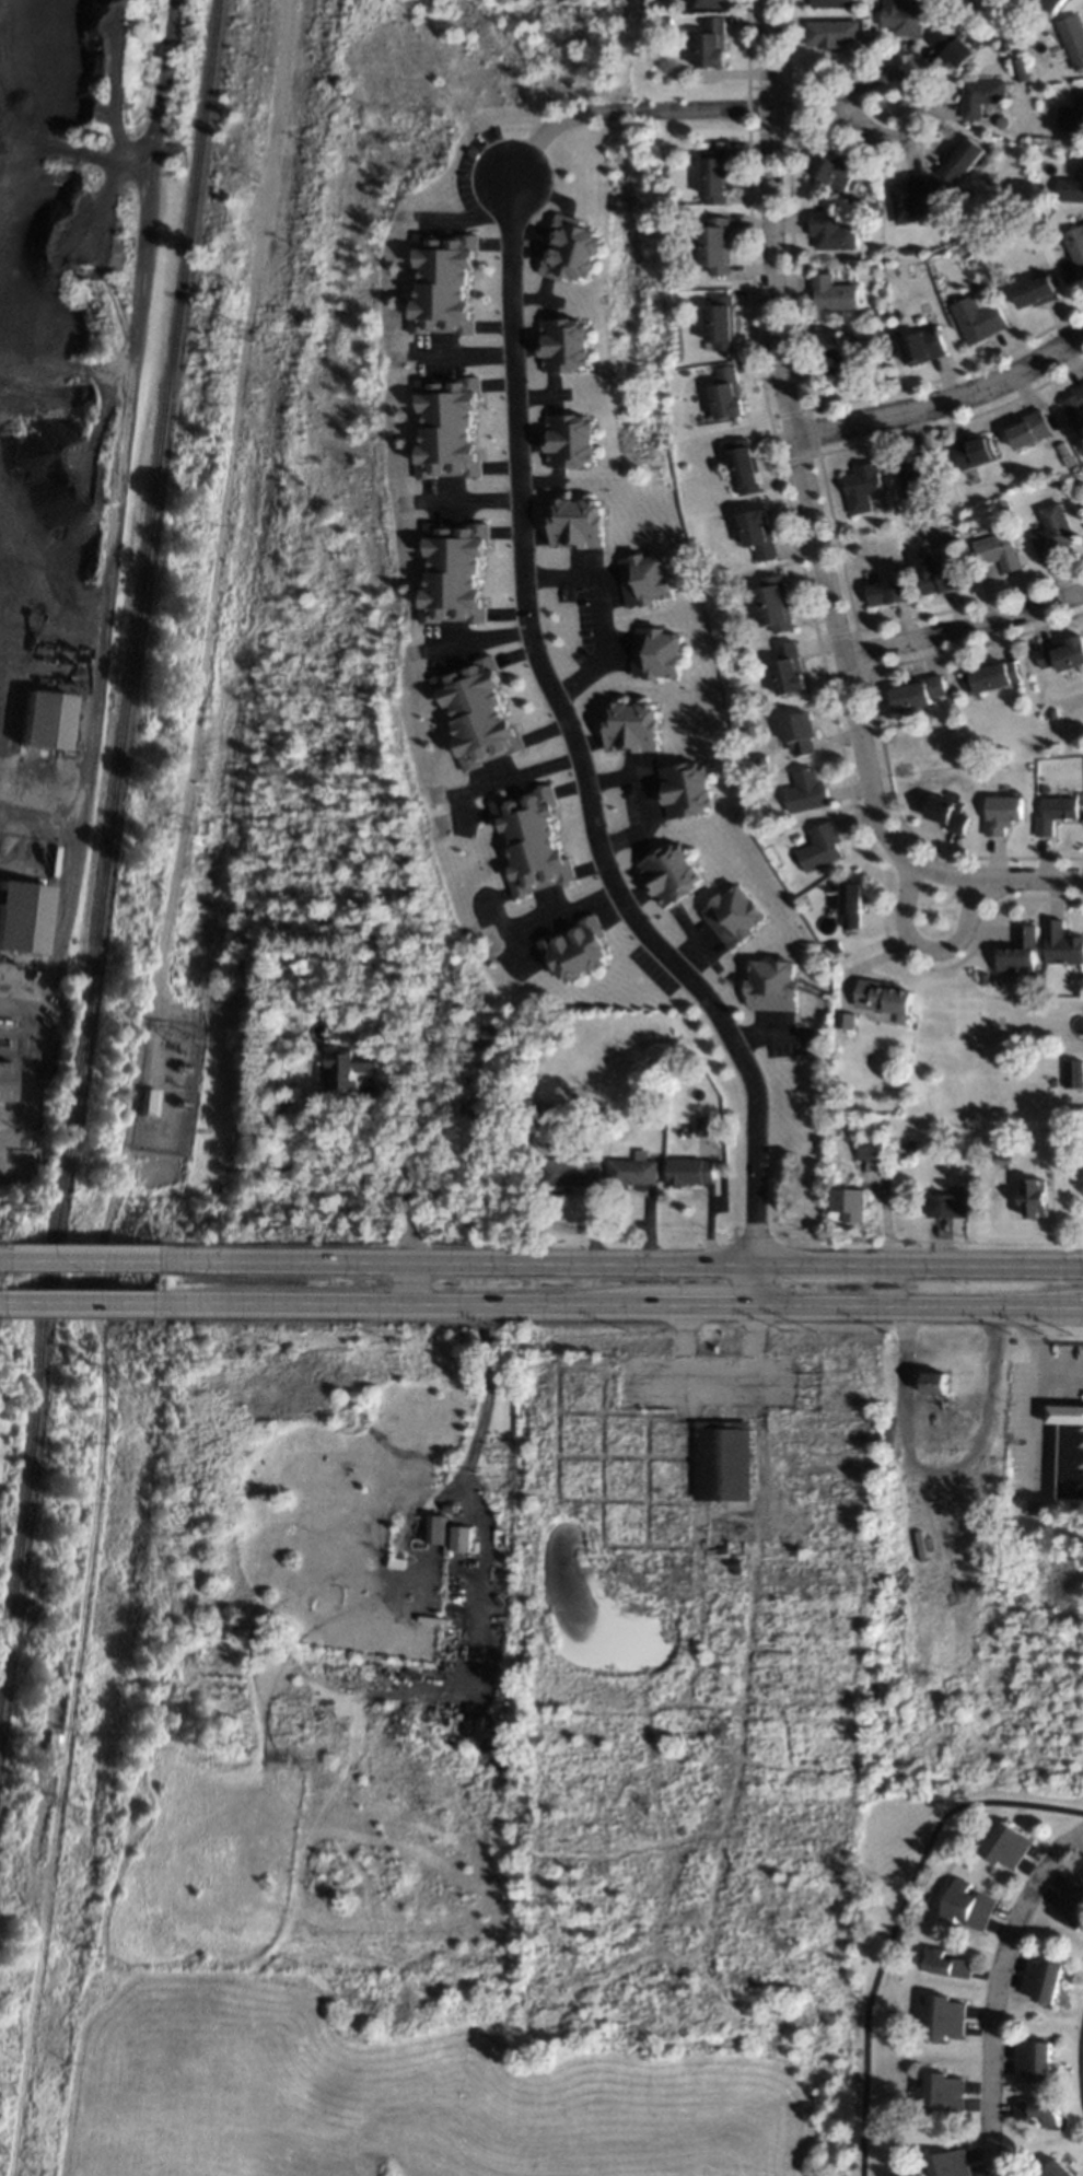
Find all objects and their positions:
building: (711, 2)
building: (832, 2)
building: (1050, 3)
building: (901, 16)
building: (666, 21)
building: (831, 32)
building: (1072, 38)
building: (712, 42)
building: (953, 43)
building: (1004, 46)
building: (1020, 69)
building: (981, 95)
road: (800, 107)
road: (609, 109)
building: (1071, 116)
building: (985, 125)
road: (887, 141)
building: (962, 158)
building: (664, 170)
building: (835, 170)
building: (715, 174)
building: (1070, 188)
building: (910, 195)
building: (832, 230)
building: (982, 238)
building: (717, 244)
building: (1075, 244)
building: (875, 247)
building: (570, 248)
building: (908, 251)
building: (442, 281)
building: (1036, 289)
building: (834, 292)
building: (978, 317)
building: (720, 322)
building: (876, 328)
building: (922, 342)
building: (563, 345)
road: (462, 352)
building: (831, 352)
building: (725, 393)
road: (943, 403)
building: (1075, 408)
building: (444, 424)
building: (1028, 428)
building: (568, 441)
road: (794, 450)
building: (970, 450)
building: (1081, 455)
building: (1067, 458)
building: (742, 465)
building: (915, 473)
building: (861, 486)
road: (465, 500)
building: (572, 523)
building: (860, 527)
building: (1052, 531)
building: (756, 532)
building: (852, 547)
building: (998, 550)
building: (452, 570)
building: (935, 574)
road: (109, 575)
building: (640, 578)
building: (886, 590)
building: (772, 603)
road: (591, 616)
road: (963, 625)
building: (726, 636)
building: (652, 652)
building: (1061, 652)
building: (729, 665)
building: (785, 668)
building: (989, 675)
building: (915, 690)
building: (474, 711)
building: (1051, 713)
building: (45, 718)
building: (629, 726)
building: (797, 732)
building: (1045, 745)
road: (569, 746)
building: (760, 758)
road: (496, 779)
building: (684, 789)
building: (804, 791)
road: (642, 801)
building: (1053, 812)
building: (946, 813)
building: (1001, 813)
building: (531, 840)
building: (819, 847)
railway: (109, 858)
building: (668, 873)
road: (1005, 877)
building: (851, 904)
building: (21, 915)
building: (732, 916)
road: (546, 920)
building: (1061, 943)
building: (835, 945)
building: (575, 949)
road: (920, 951)
building: (1018, 951)
building: (981, 978)
building: (993, 979)
building: (771, 985)
building: (882, 994)
building: (845, 1020)
building: (651, 1026)
building: (492, 1033)
building: (351, 1066)
building: (1072, 1070)
building: (5, 1079)
building: (837, 1096)
building: (150, 1102)
building: (590, 1107)
building: (703, 1125)
building: (1025, 1141)
building: (911, 1145)
building: (872, 1147)
building: (1002, 1156)
road: (403, 1167)
building: (632, 1170)
building: (689, 1170)
building: (573, 1171)
building: (1034, 1195)
building: (849, 1200)
building: (946, 1205)
road: (70, 1259)
road: (450, 1261)
road: (920, 1265)
road: (414, 1285)
road: (758, 1288)
road: (884, 1289)
road: (2, 1305)
road: (73, 1306)
road: (612, 1311)
road: (1034, 1362)
road: (721, 1366)
crop: (10, 1380)
building: (934, 1382)
road: (1036, 1431)
building: (1068, 1450)
building: (720, 1459)
road: (468, 1464)
road: (938, 1469)
building: (434, 1532)
building: (461, 1537)
building: (776, 1566)
building: (53, 1719)
building: (1006, 1843)
building: (1070, 1902)
building: (967, 1905)
road: (895, 1921)
building: (947, 1963)
building: (1043, 1978)
road: (997, 1991)
building: (945, 2016)
building: (1033, 2059)
road: (1079, 2063)
park: (424, 2083)
building: (943, 2092)
building: (1038, 2110)
building: (950, 2163)
building: (1058, 2168)

